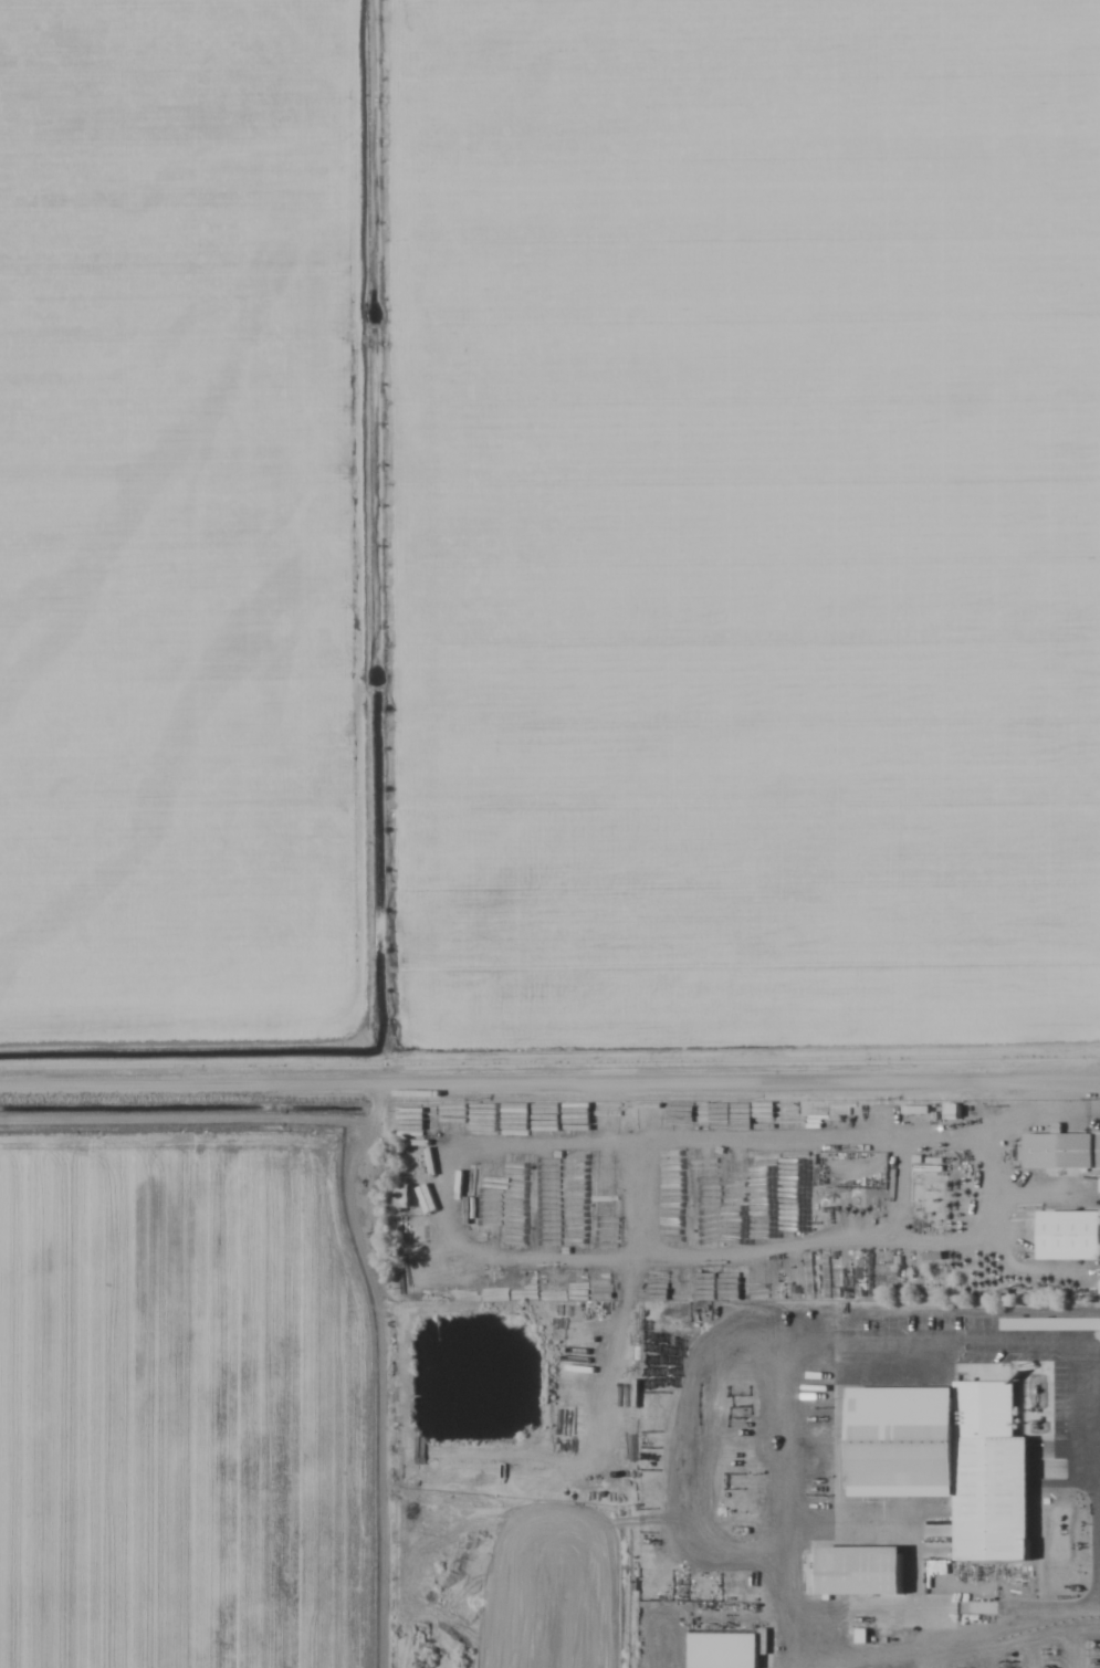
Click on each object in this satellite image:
road: (549, 1084)
building: (950, 1111)
building: (588, 1115)
building: (479, 1120)
building: (1061, 1151)
building: (400, 1197)
building: (926, 1203)
building: (1049, 1324)
building: (946, 1460)
building: (855, 1572)
building: (722, 1649)

